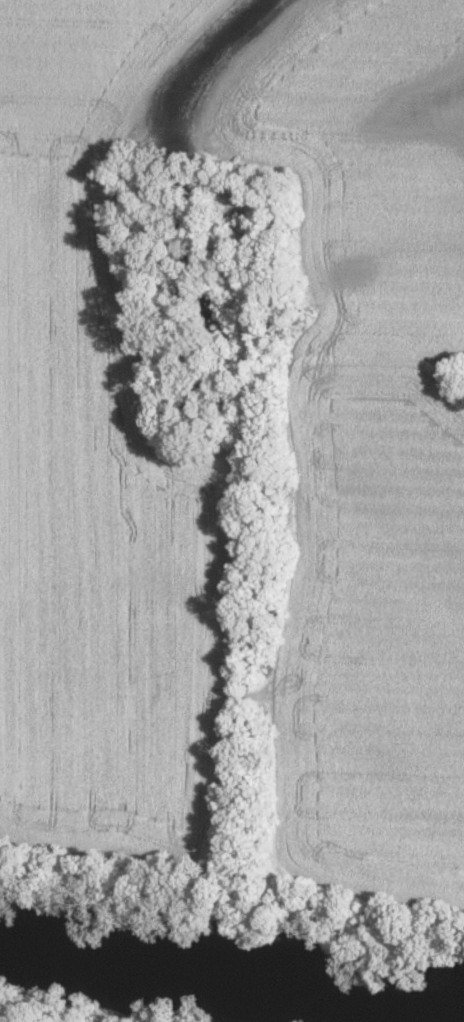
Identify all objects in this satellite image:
river: (227, 985)

